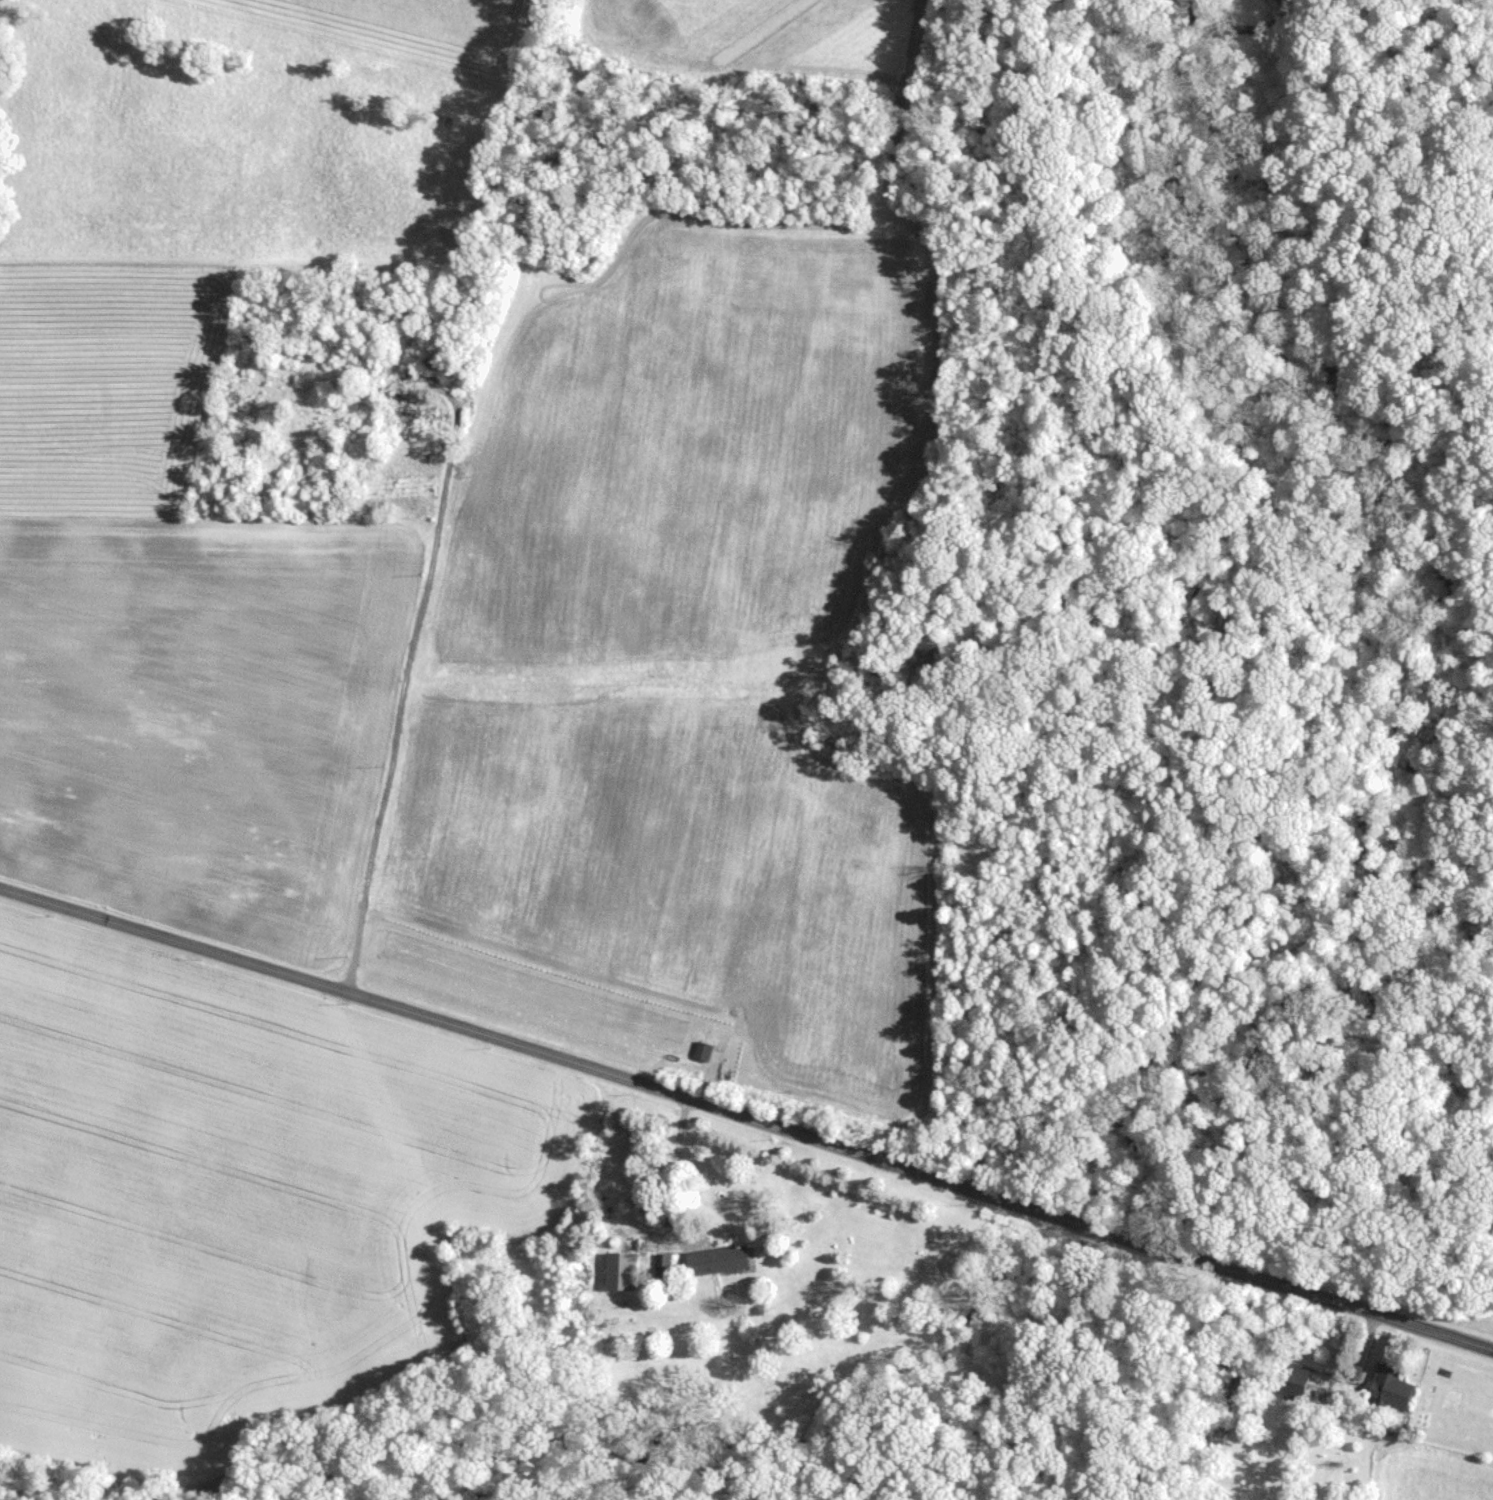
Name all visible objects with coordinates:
building: (436, 358)
building: (420, 414)
road: (400, 702)
road: (747, 1117)
road: (673, 1168)
building: (722, 1259)
building: (623, 1269)
building: (1395, 1383)

